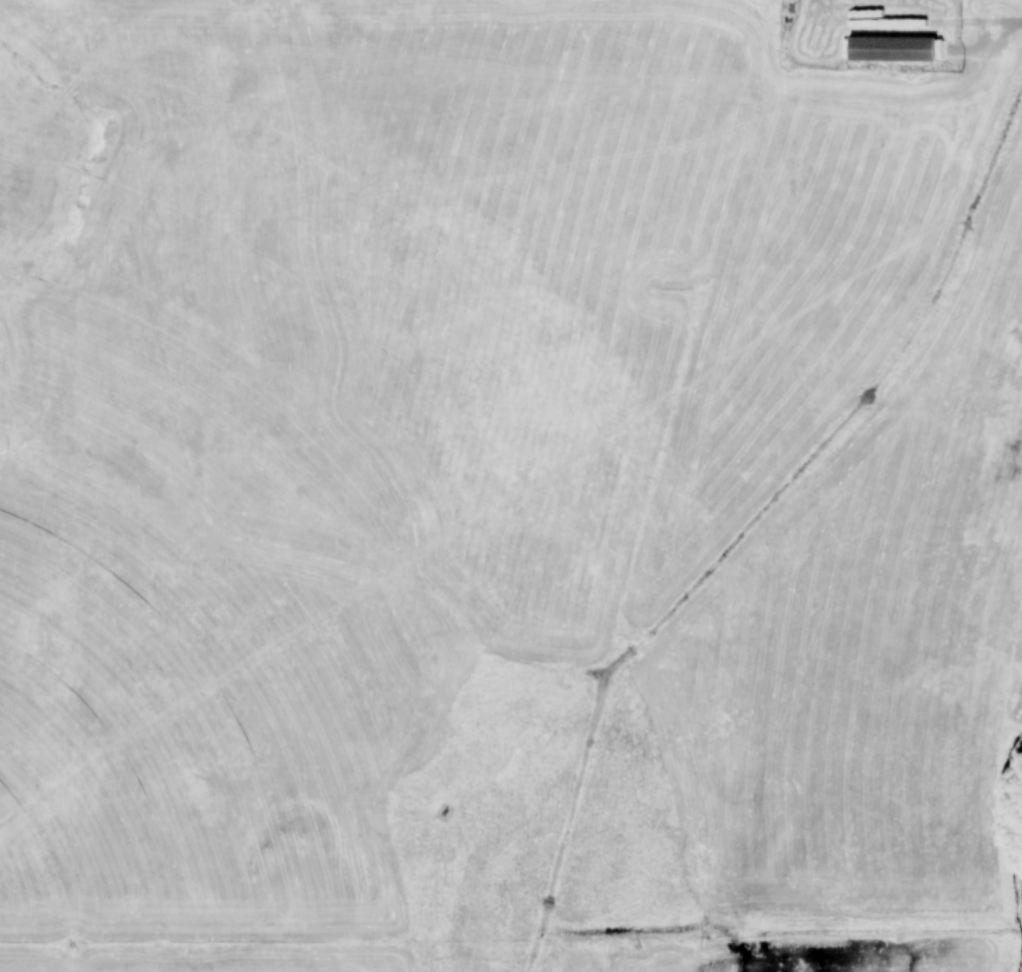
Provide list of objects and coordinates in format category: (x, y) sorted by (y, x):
building: (892, 50)

